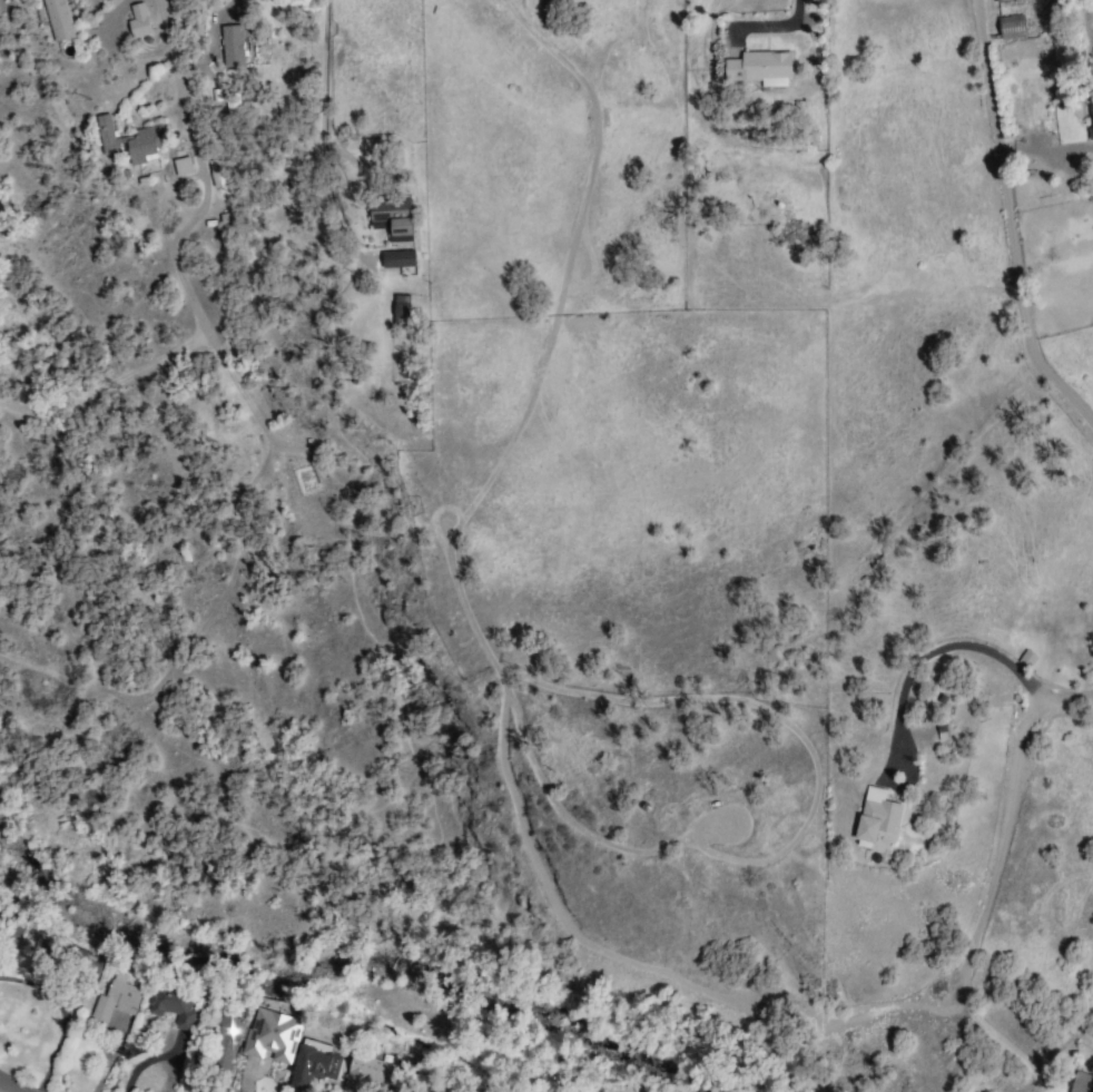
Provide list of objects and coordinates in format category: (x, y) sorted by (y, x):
building: (1013, 2)
building: (55, 19)
building: (136, 21)
building: (1045, 22)
building: (1006, 29)
road: (169, 59)
building: (756, 69)
building: (121, 142)
building: (390, 220)
road: (996, 229)
building: (393, 260)
building: (397, 313)
road: (930, 657)
building: (1024, 659)
building: (937, 728)
building: (874, 820)
road: (983, 877)
river: (326, 961)
building: (115, 1001)
building: (173, 1007)
building: (272, 1036)
building: (226, 1039)
building: (312, 1061)
building: (365, 1075)
river: (711, 1076)
road: (13, 1085)

